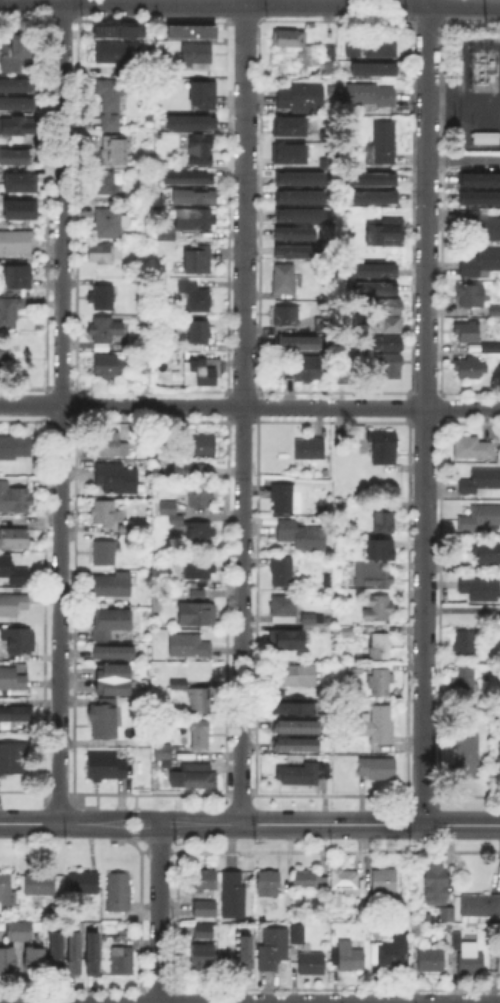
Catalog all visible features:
road: (250, 3)
building: (120, 28)
building: (189, 30)
building: (290, 38)
building: (14, 47)
building: (352, 47)
building: (381, 47)
building: (117, 53)
building: (191, 56)
building: (373, 70)
building: (210, 75)
building: (15, 83)
building: (203, 93)
power substation: (479, 93)
building: (369, 94)
building: (300, 95)
building: (110, 101)
building: (15, 102)
building: (190, 123)
building: (291, 125)
building: (18, 126)
building: (482, 136)
building: (385, 143)
building: (201, 148)
building: (111, 151)
building: (291, 152)
building: (13, 158)
building: (376, 175)
building: (477, 178)
building: (188, 179)
building: (300, 180)
building: (18, 181)
building: (105, 184)
building: (375, 196)
building: (478, 197)
building: (194, 198)
building: (300, 199)
building: (18, 207)
building: (301, 218)
building: (193, 220)
building: (110, 222)
building: (480, 226)
building: (162, 234)
building: (293, 234)
building: (385, 237)
building: (16, 243)
building: (102, 254)
building: (294, 254)
building: (196, 260)
building: (480, 263)
building: (376, 269)
building: (19, 279)
building: (284, 279)
building: (376, 287)
building: (472, 295)
building: (196, 296)
building: (102, 297)
building: (391, 305)
building: (495, 309)
building: (10, 312)
building: (286, 317)
building: (325, 324)
building: (385, 325)
building: (102, 331)
building: (200, 331)
building: (468, 331)
building: (297, 344)
building: (387, 344)
building: (489, 347)
building: (5, 358)
building: (499, 360)
building: (389, 363)
building: (143, 364)
building: (108, 367)
building: (308, 367)
building: (470, 368)
building: (207, 370)
building: (342, 374)
road: (250, 405)
road: (60, 411)
road: (242, 412)
road: (424, 412)
building: (343, 440)
building: (109, 444)
building: (196, 444)
building: (14, 446)
building: (311, 448)
building: (384, 448)
building: (473, 450)
building: (191, 469)
building: (326, 474)
building: (117, 479)
building: (481, 481)
building: (13, 496)
building: (201, 496)
building: (283, 498)
building: (394, 501)
building: (340, 503)
building: (168, 509)
building: (104, 512)
building: (382, 517)
building: (481, 517)
building: (202, 533)
building: (302, 536)
building: (14, 538)
building: (381, 548)
building: (104, 551)
building: (487, 553)
building: (199, 569)
building: (13, 571)
building: (281, 572)
building: (372, 576)
building: (103, 587)
building: (478, 588)
building: (194, 593)
building: (13, 605)
building: (378, 609)
building: (284, 610)
building: (192, 612)
building: (312, 619)
building: (108, 620)
building: (345, 629)
building: (19, 638)
building: (290, 642)
building: (464, 643)
building: (380, 646)
building: (188, 647)
building: (113, 649)
building: (355, 670)
building: (112, 676)
building: (298, 676)
building: (12, 679)
building: (381, 679)
building: (177, 682)
building: (464, 683)
building: (281, 693)
building: (200, 701)
building: (295, 708)
building: (15, 715)
building: (104, 722)
building: (296, 724)
building: (376, 725)
building: (199, 735)
building: (296, 743)
building: (164, 753)
building: (467, 756)
building: (13, 759)
building: (105, 767)
building: (499, 768)
building: (378, 770)
building: (305, 774)
building: (197, 777)
road: (149, 814)
road: (29, 823)
road: (135, 823)
road: (369, 824)
road: (200, 831)
road: (108, 832)
building: (344, 880)
building: (310, 881)
building: (203, 882)
building: (385, 882)
building: (6, 884)
building: (39, 884)
building: (84, 884)
building: (268, 884)
building: (437, 887)
building: (231, 892)
building: (119, 894)
building: (335, 900)
building: (480, 907)
road: (158, 908)
building: (205, 909)
building: (447, 915)
building: (20, 930)
building: (205, 932)
building: (417, 932)
building: (298, 935)
building: (56, 949)
building: (75, 949)
building: (94, 949)
building: (273, 950)
building: (391, 952)
building: (243, 953)
building: (33, 956)
building: (121, 957)
building: (8, 958)
building: (349, 958)
building: (469, 958)
building: (203, 959)
building: (431, 961)
building: (496, 962)
building: (313, 963)
road: (204, 1002)

